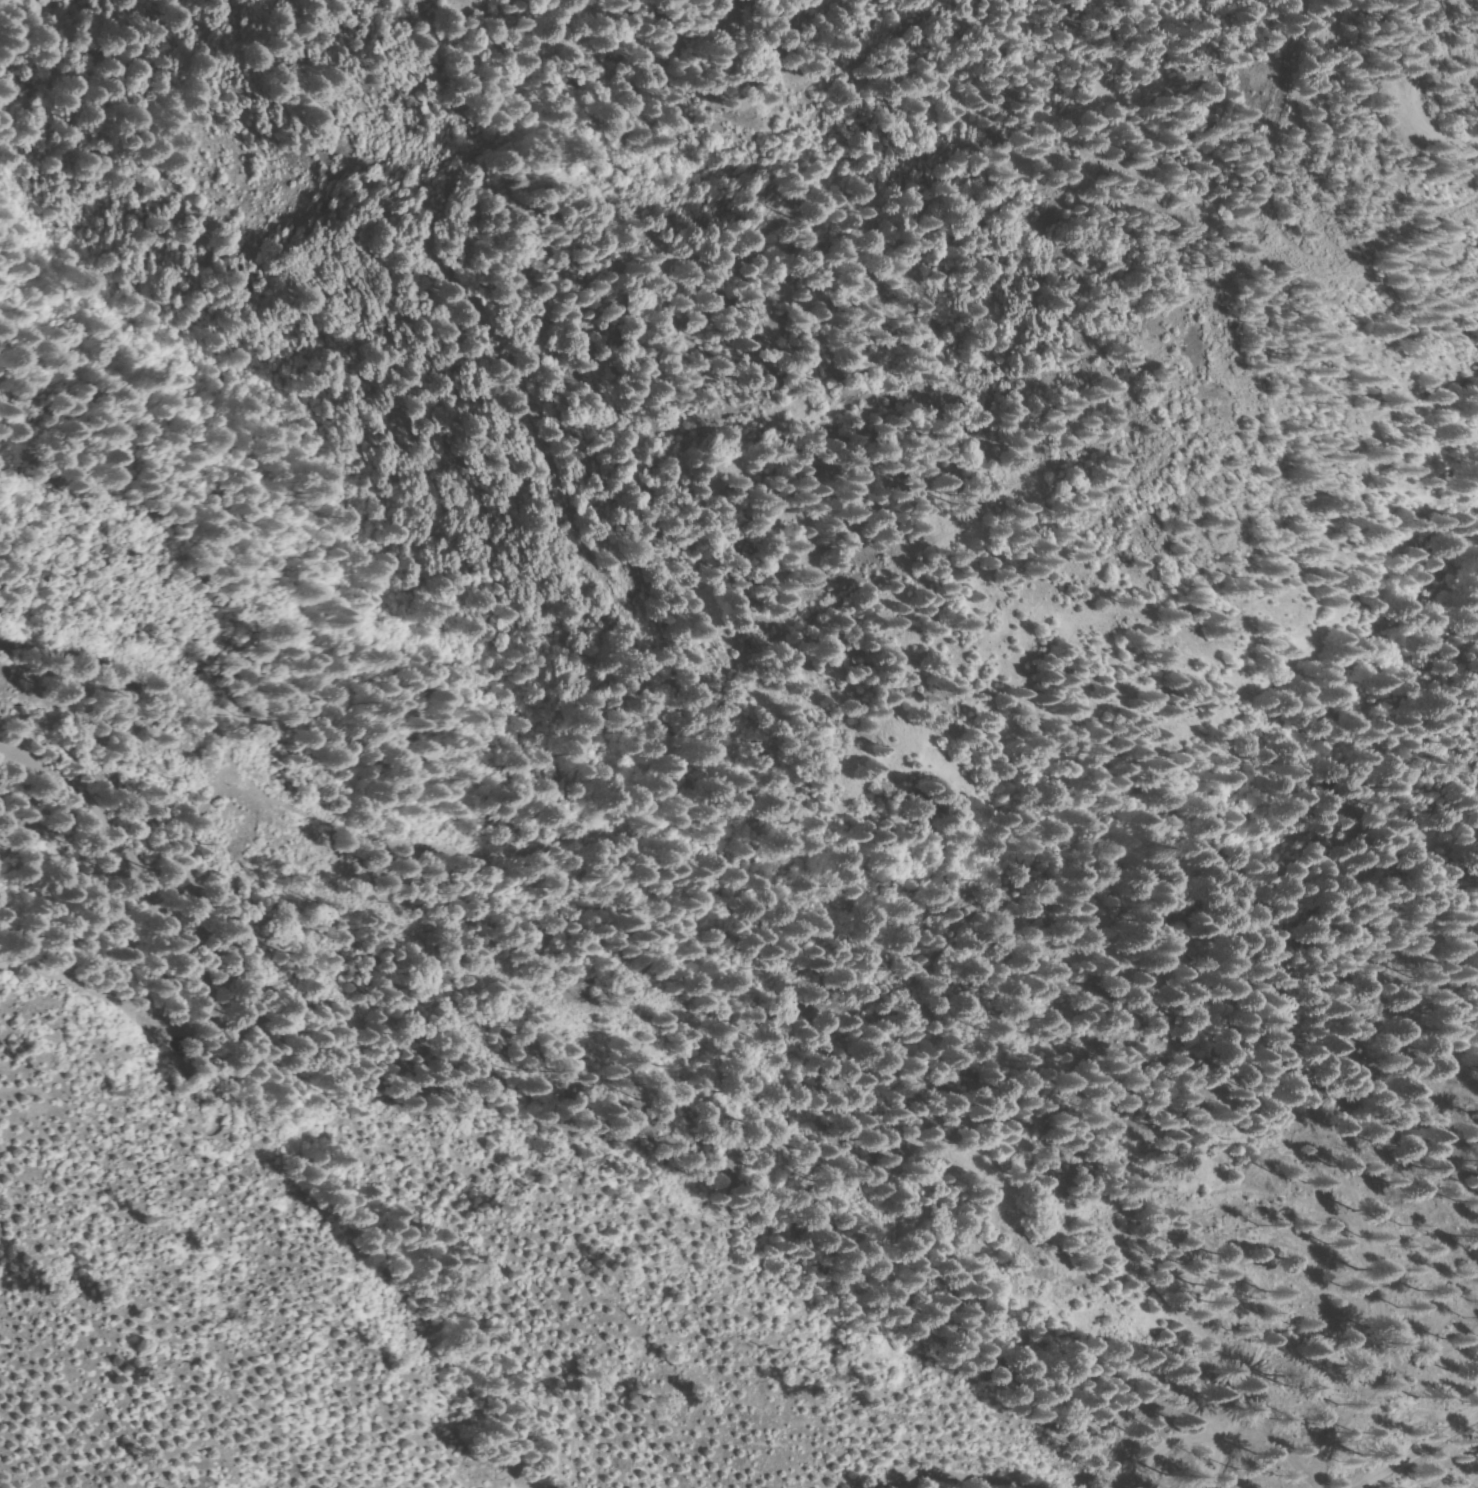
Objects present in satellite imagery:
road: (1411, 95)
road: (423, 868)
road: (1415, 1446)
road: (1059, 1484)

